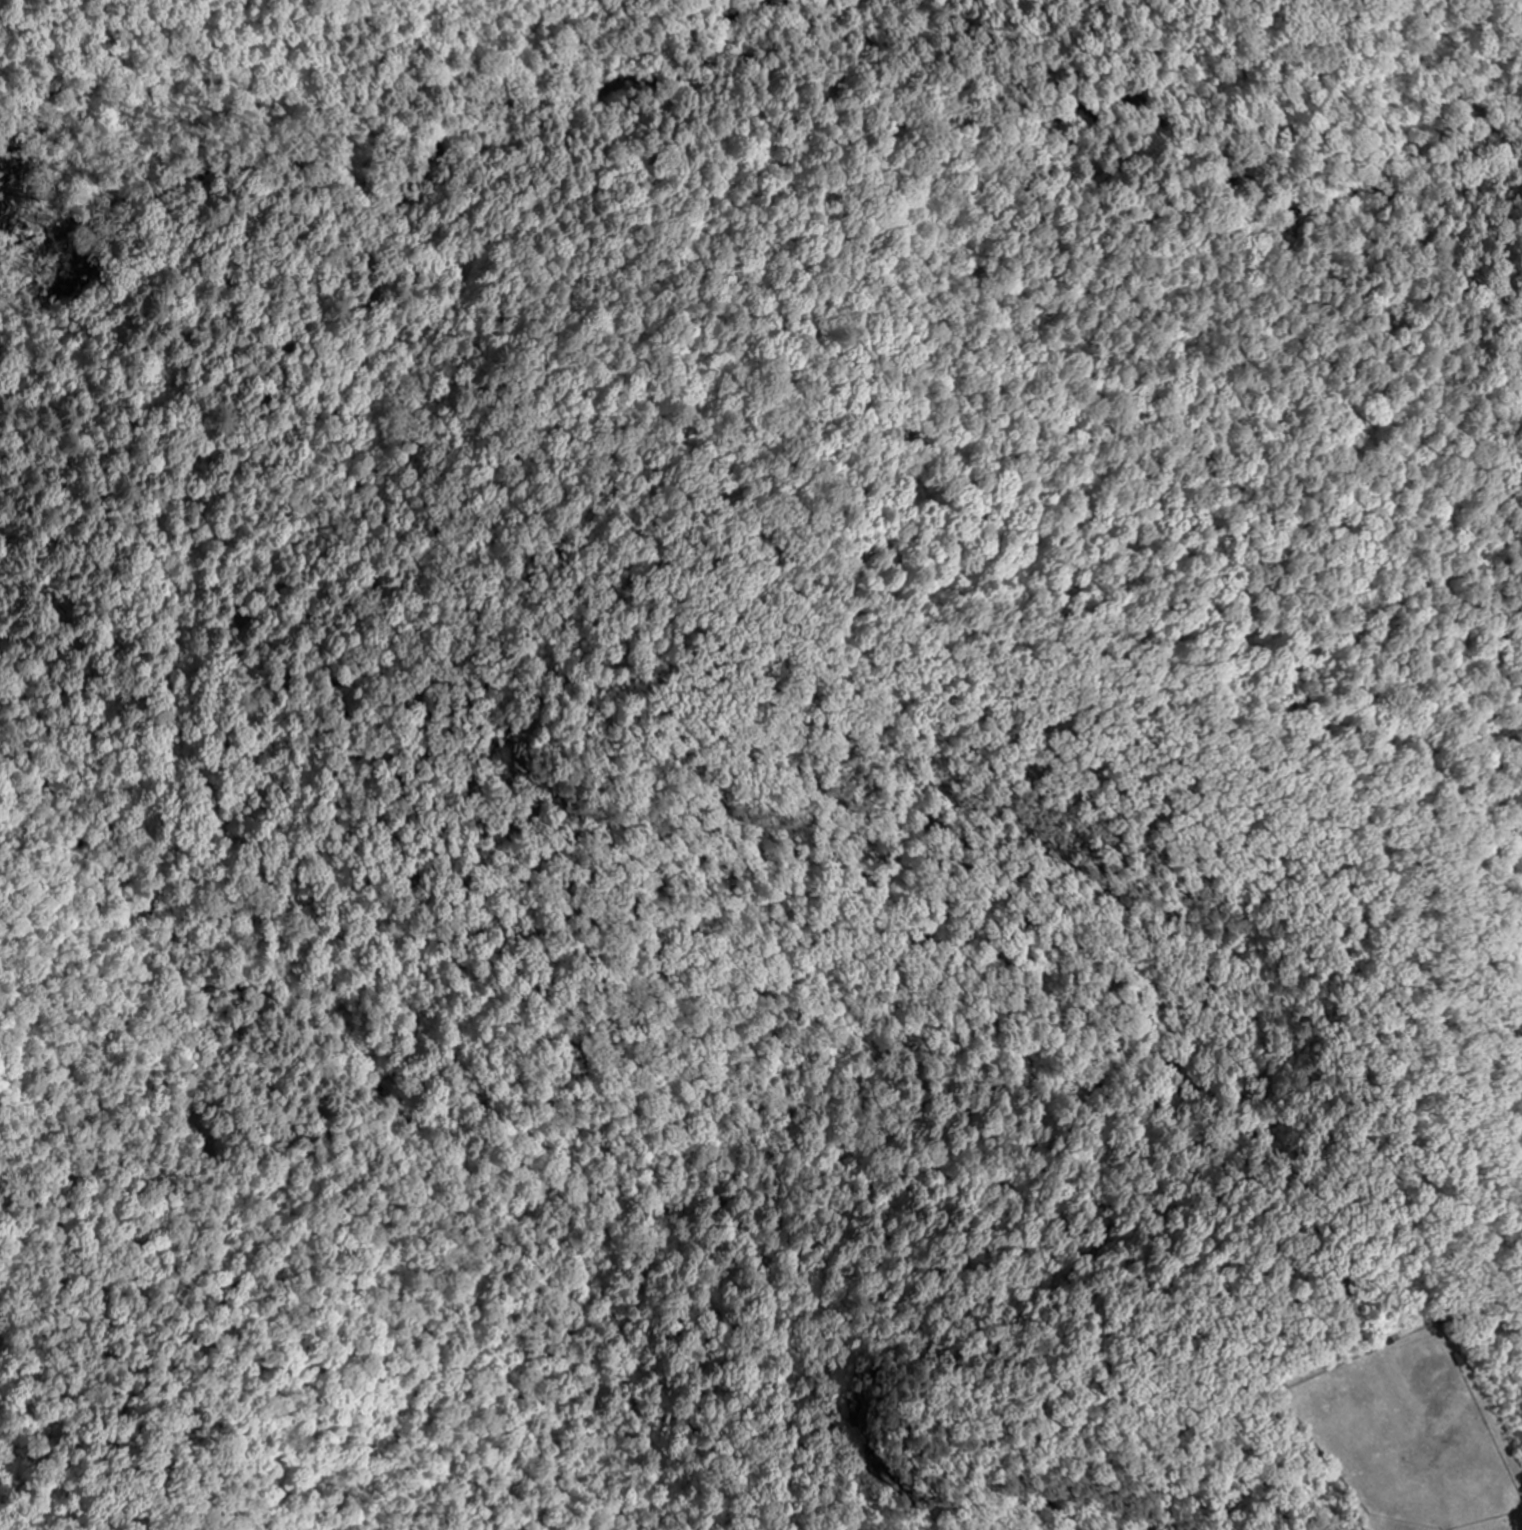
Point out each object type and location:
road: (1205, 767)
road: (277, 1241)
road: (1519, 1528)

